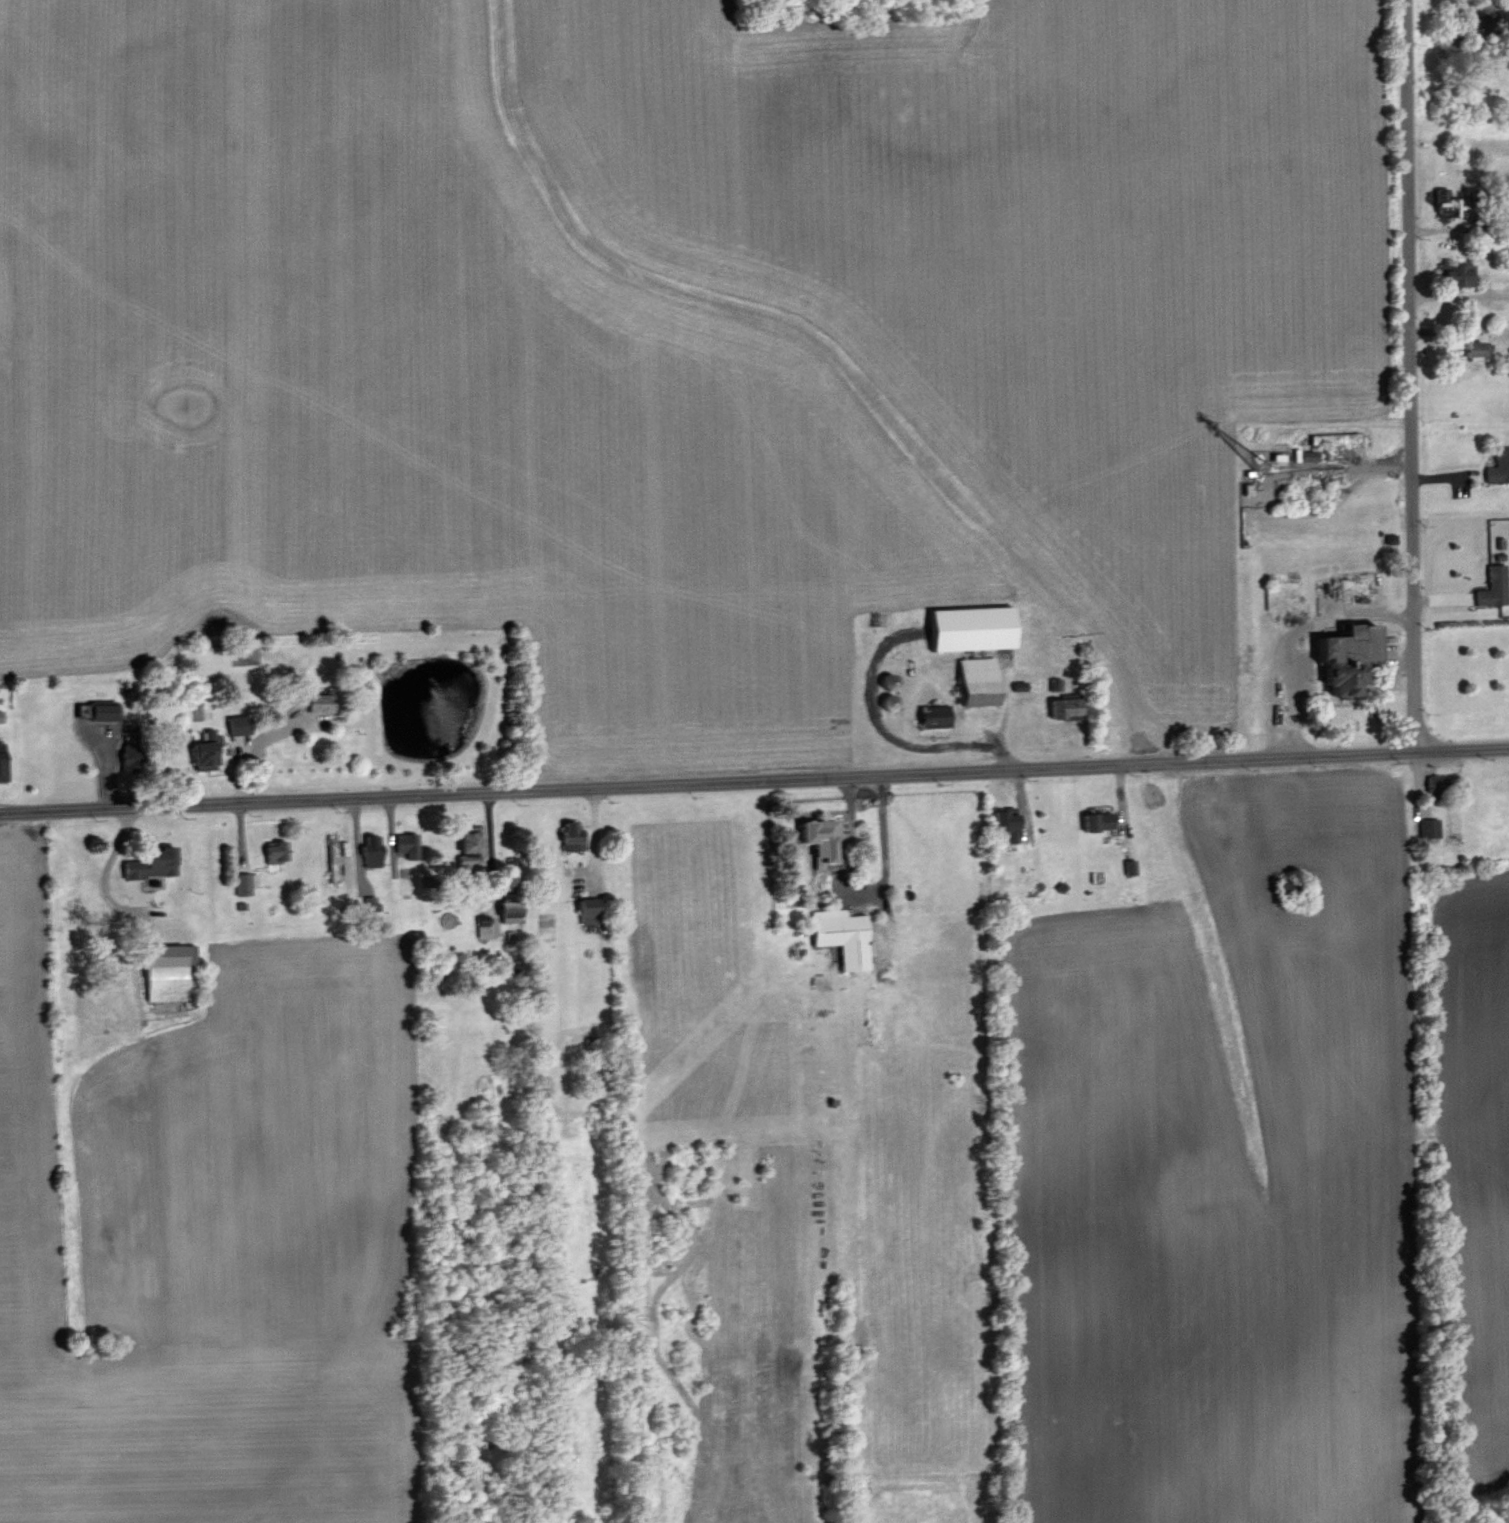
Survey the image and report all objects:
building: (1449, 203)
building: (1461, 273)
building: (1477, 349)
road: (1410, 376)
building: (1296, 454)
building: (1311, 455)
building: (1500, 466)
building: (1495, 587)
building: (975, 627)
road: (1289, 633)
building: (1352, 656)
building: (979, 677)
building: (321, 702)
building: (1068, 706)
building: (106, 711)
building: (937, 715)
building: (241, 724)
building: (208, 750)
building: (133, 756)
building: (3, 760)
road: (754, 783)
building: (1436, 785)
building: (1099, 821)
building: (1009, 824)
building: (1430, 827)
building: (573, 836)
building: (824, 837)
building: (472, 841)
building: (409, 844)
building: (374, 850)
building: (279, 851)
building: (333, 859)
road: (108, 861)
building: (155, 863)
building: (1130, 866)
building: (246, 882)
road: (859, 894)
building: (371, 903)
building: (591, 910)
building: (513, 911)
building: (484, 927)
building: (844, 936)
building: (169, 973)

